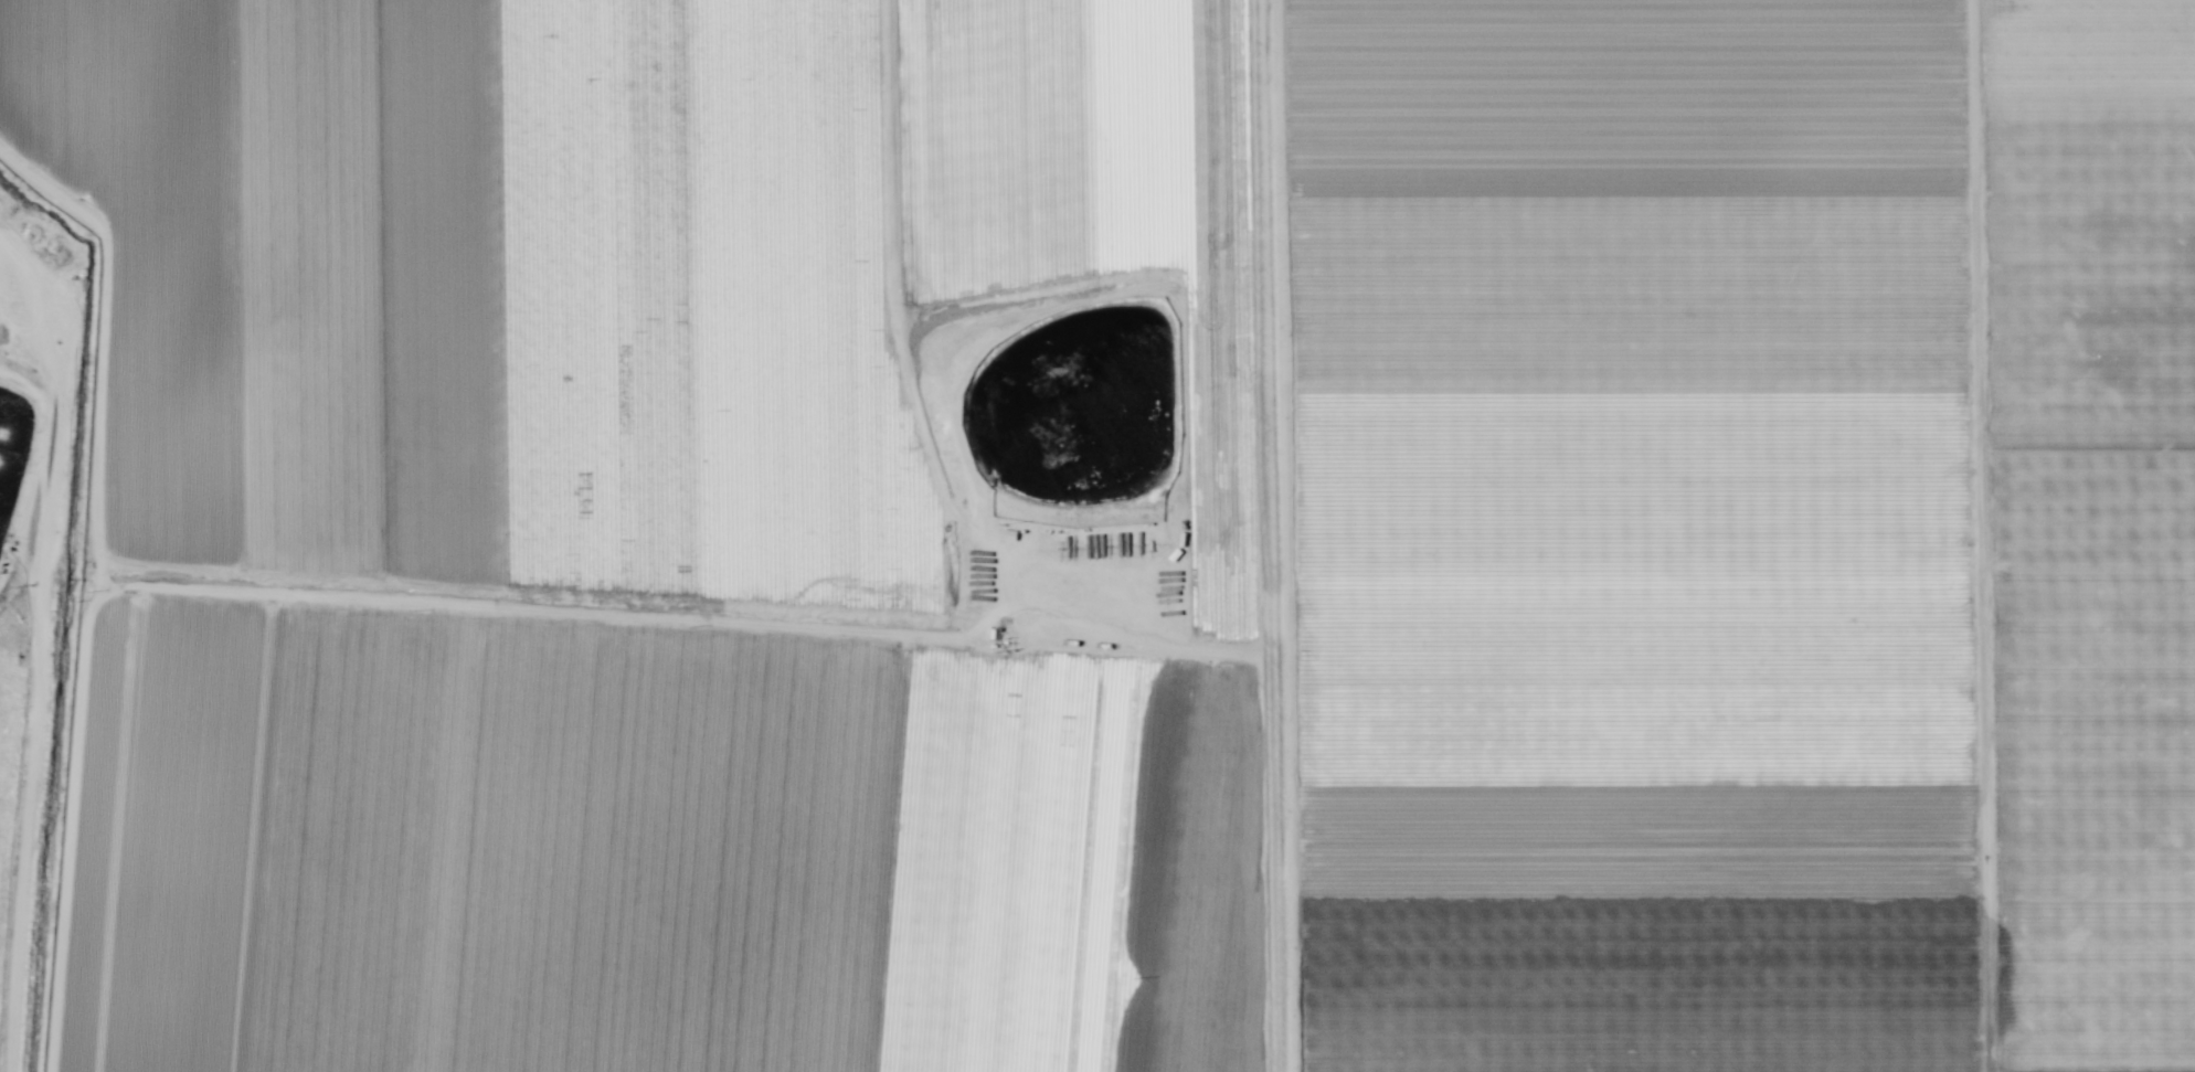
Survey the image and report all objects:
wastewater plant: (1072, 427)
road: (951, 442)
crop: (1097, 535)
road: (1271, 535)

